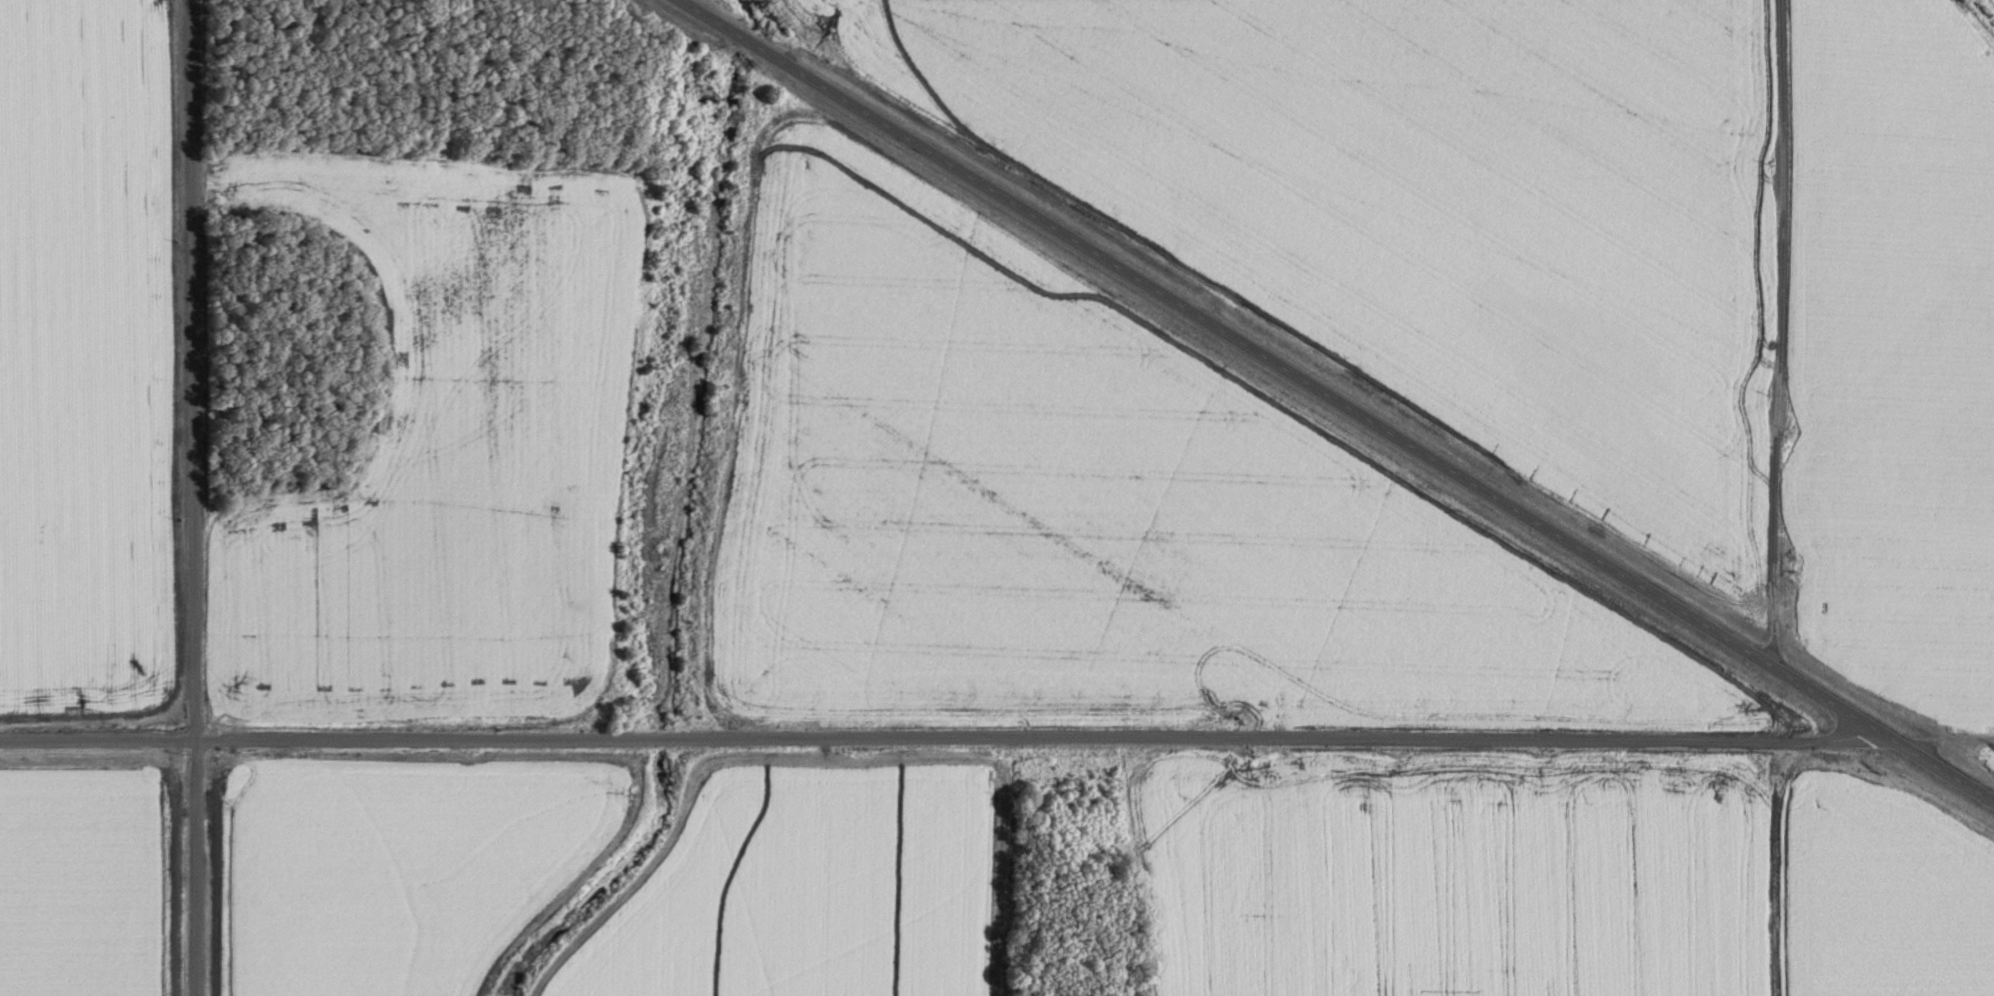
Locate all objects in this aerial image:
road: (1333, 403)
road: (193, 497)
road: (942, 736)

